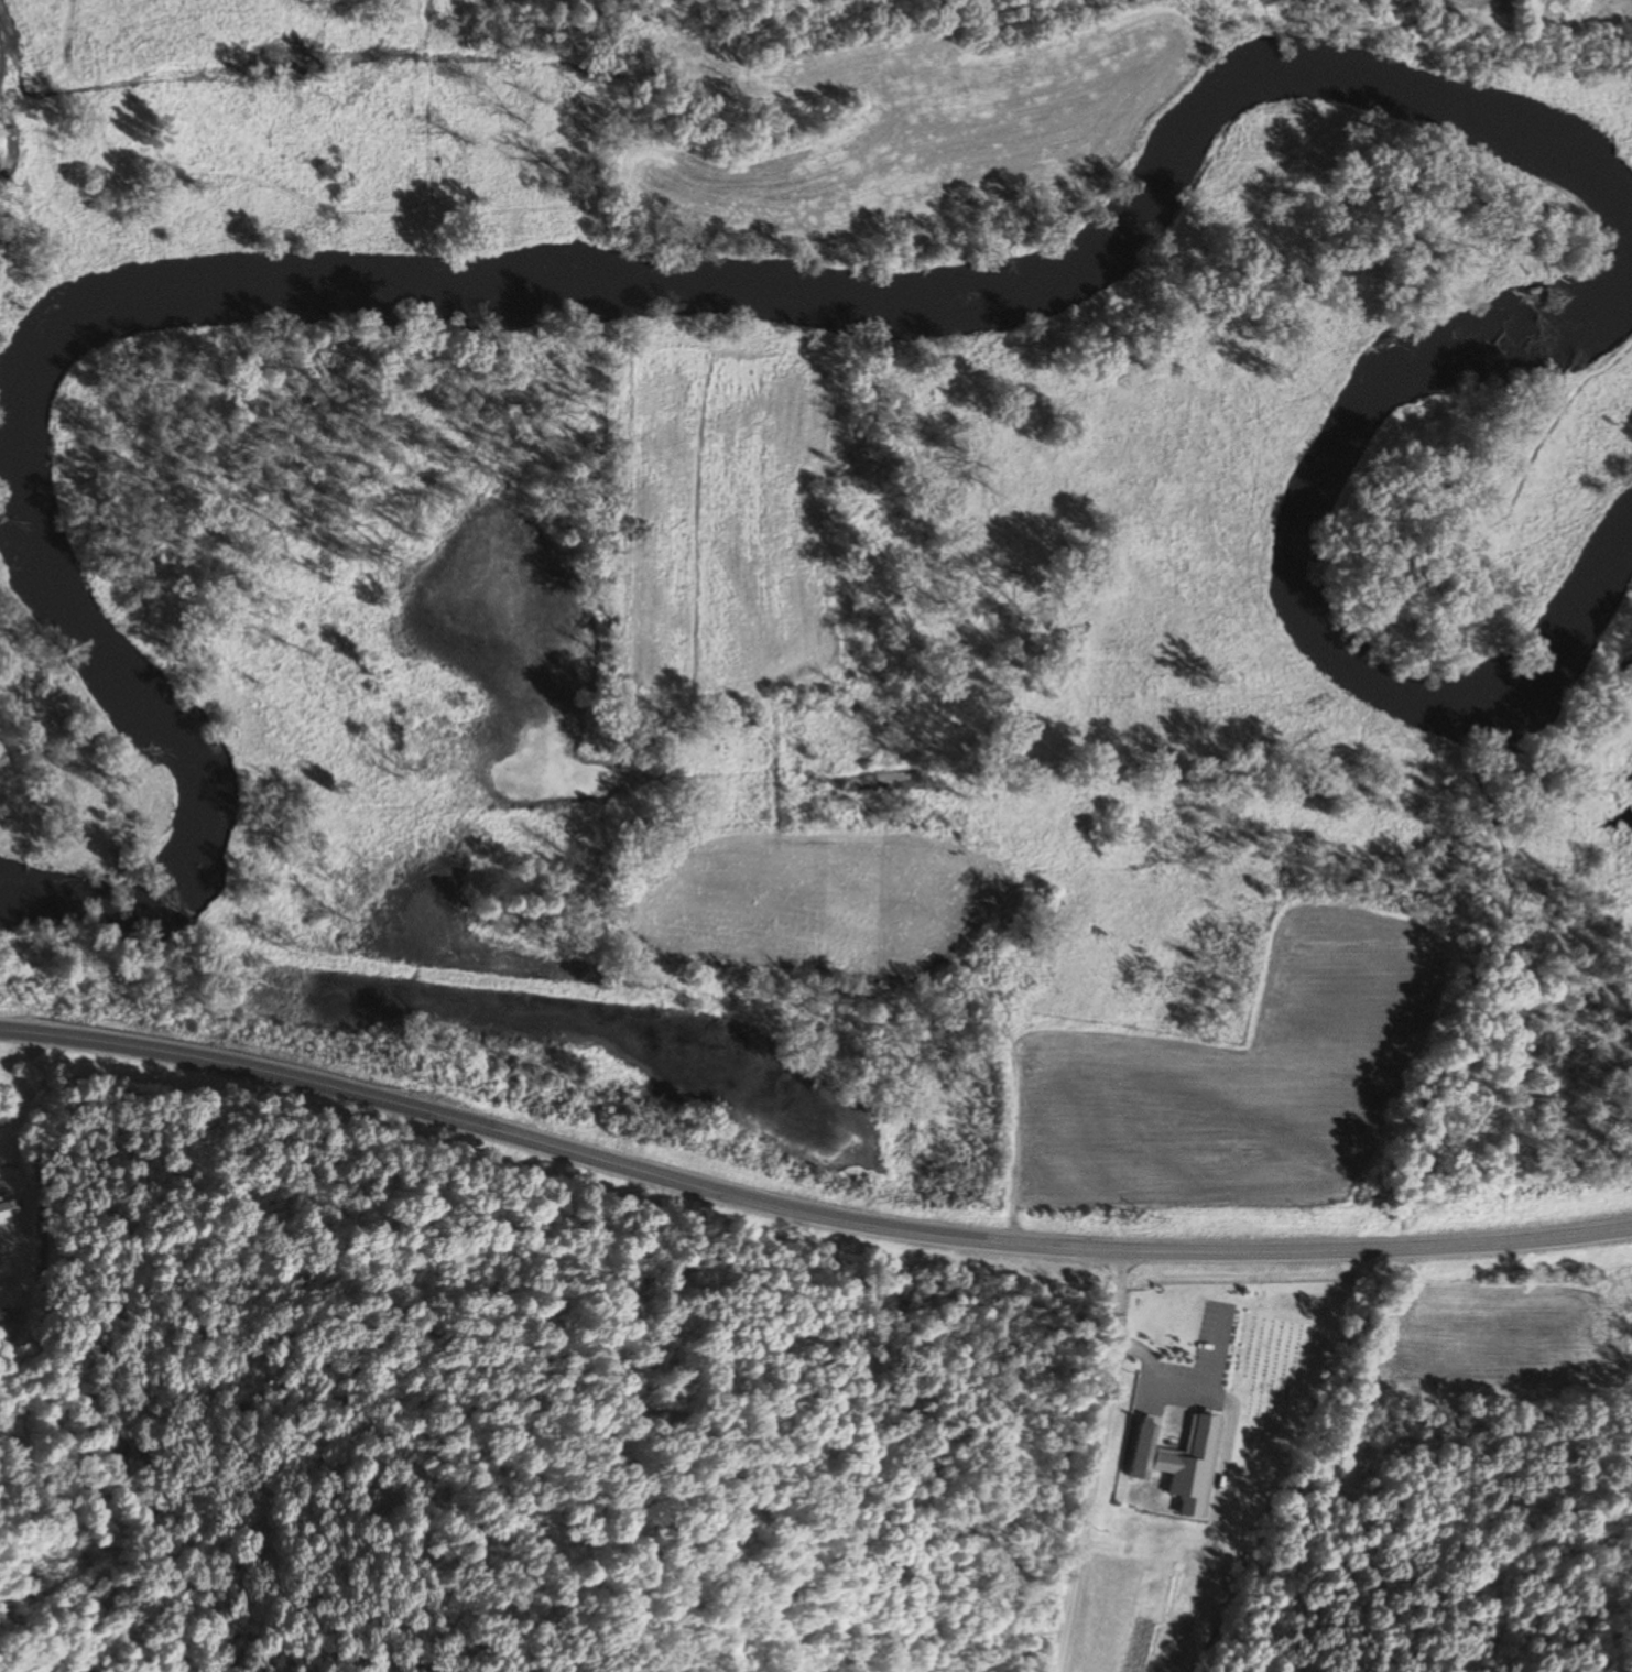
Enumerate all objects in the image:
river: (1563, 163)
river: (30, 441)
road: (806, 1214)
building: (3, 1215)
building: (1, 1320)
road: (1096, 1461)

